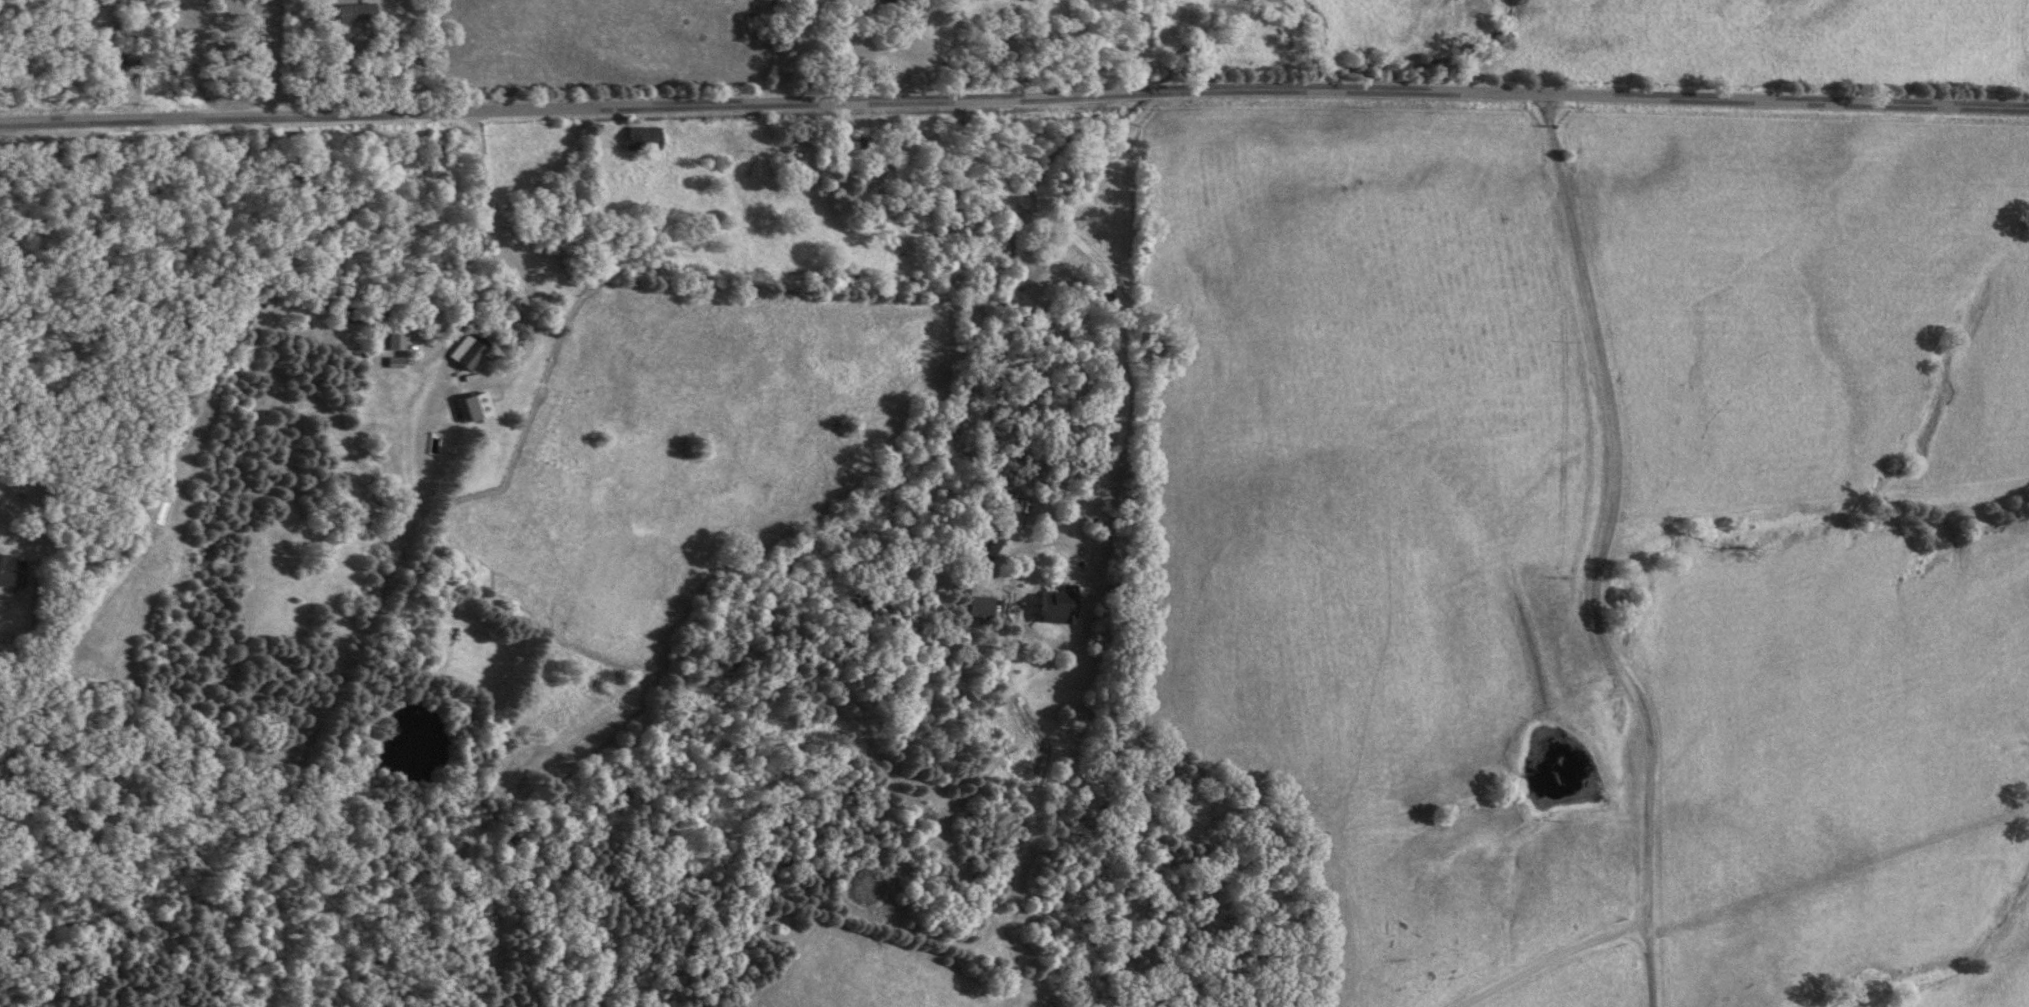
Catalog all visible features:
building: (877, 1)
building: (354, 12)
road: (851, 50)
road: (276, 57)
road: (1014, 96)
building: (641, 138)
building: (754, 170)
road: (513, 253)
road: (1112, 273)
building: (393, 338)
building: (470, 353)
building: (472, 406)
road: (1609, 550)
building: (10, 572)
building: (975, 606)
building: (1056, 606)
road: (1560, 959)

